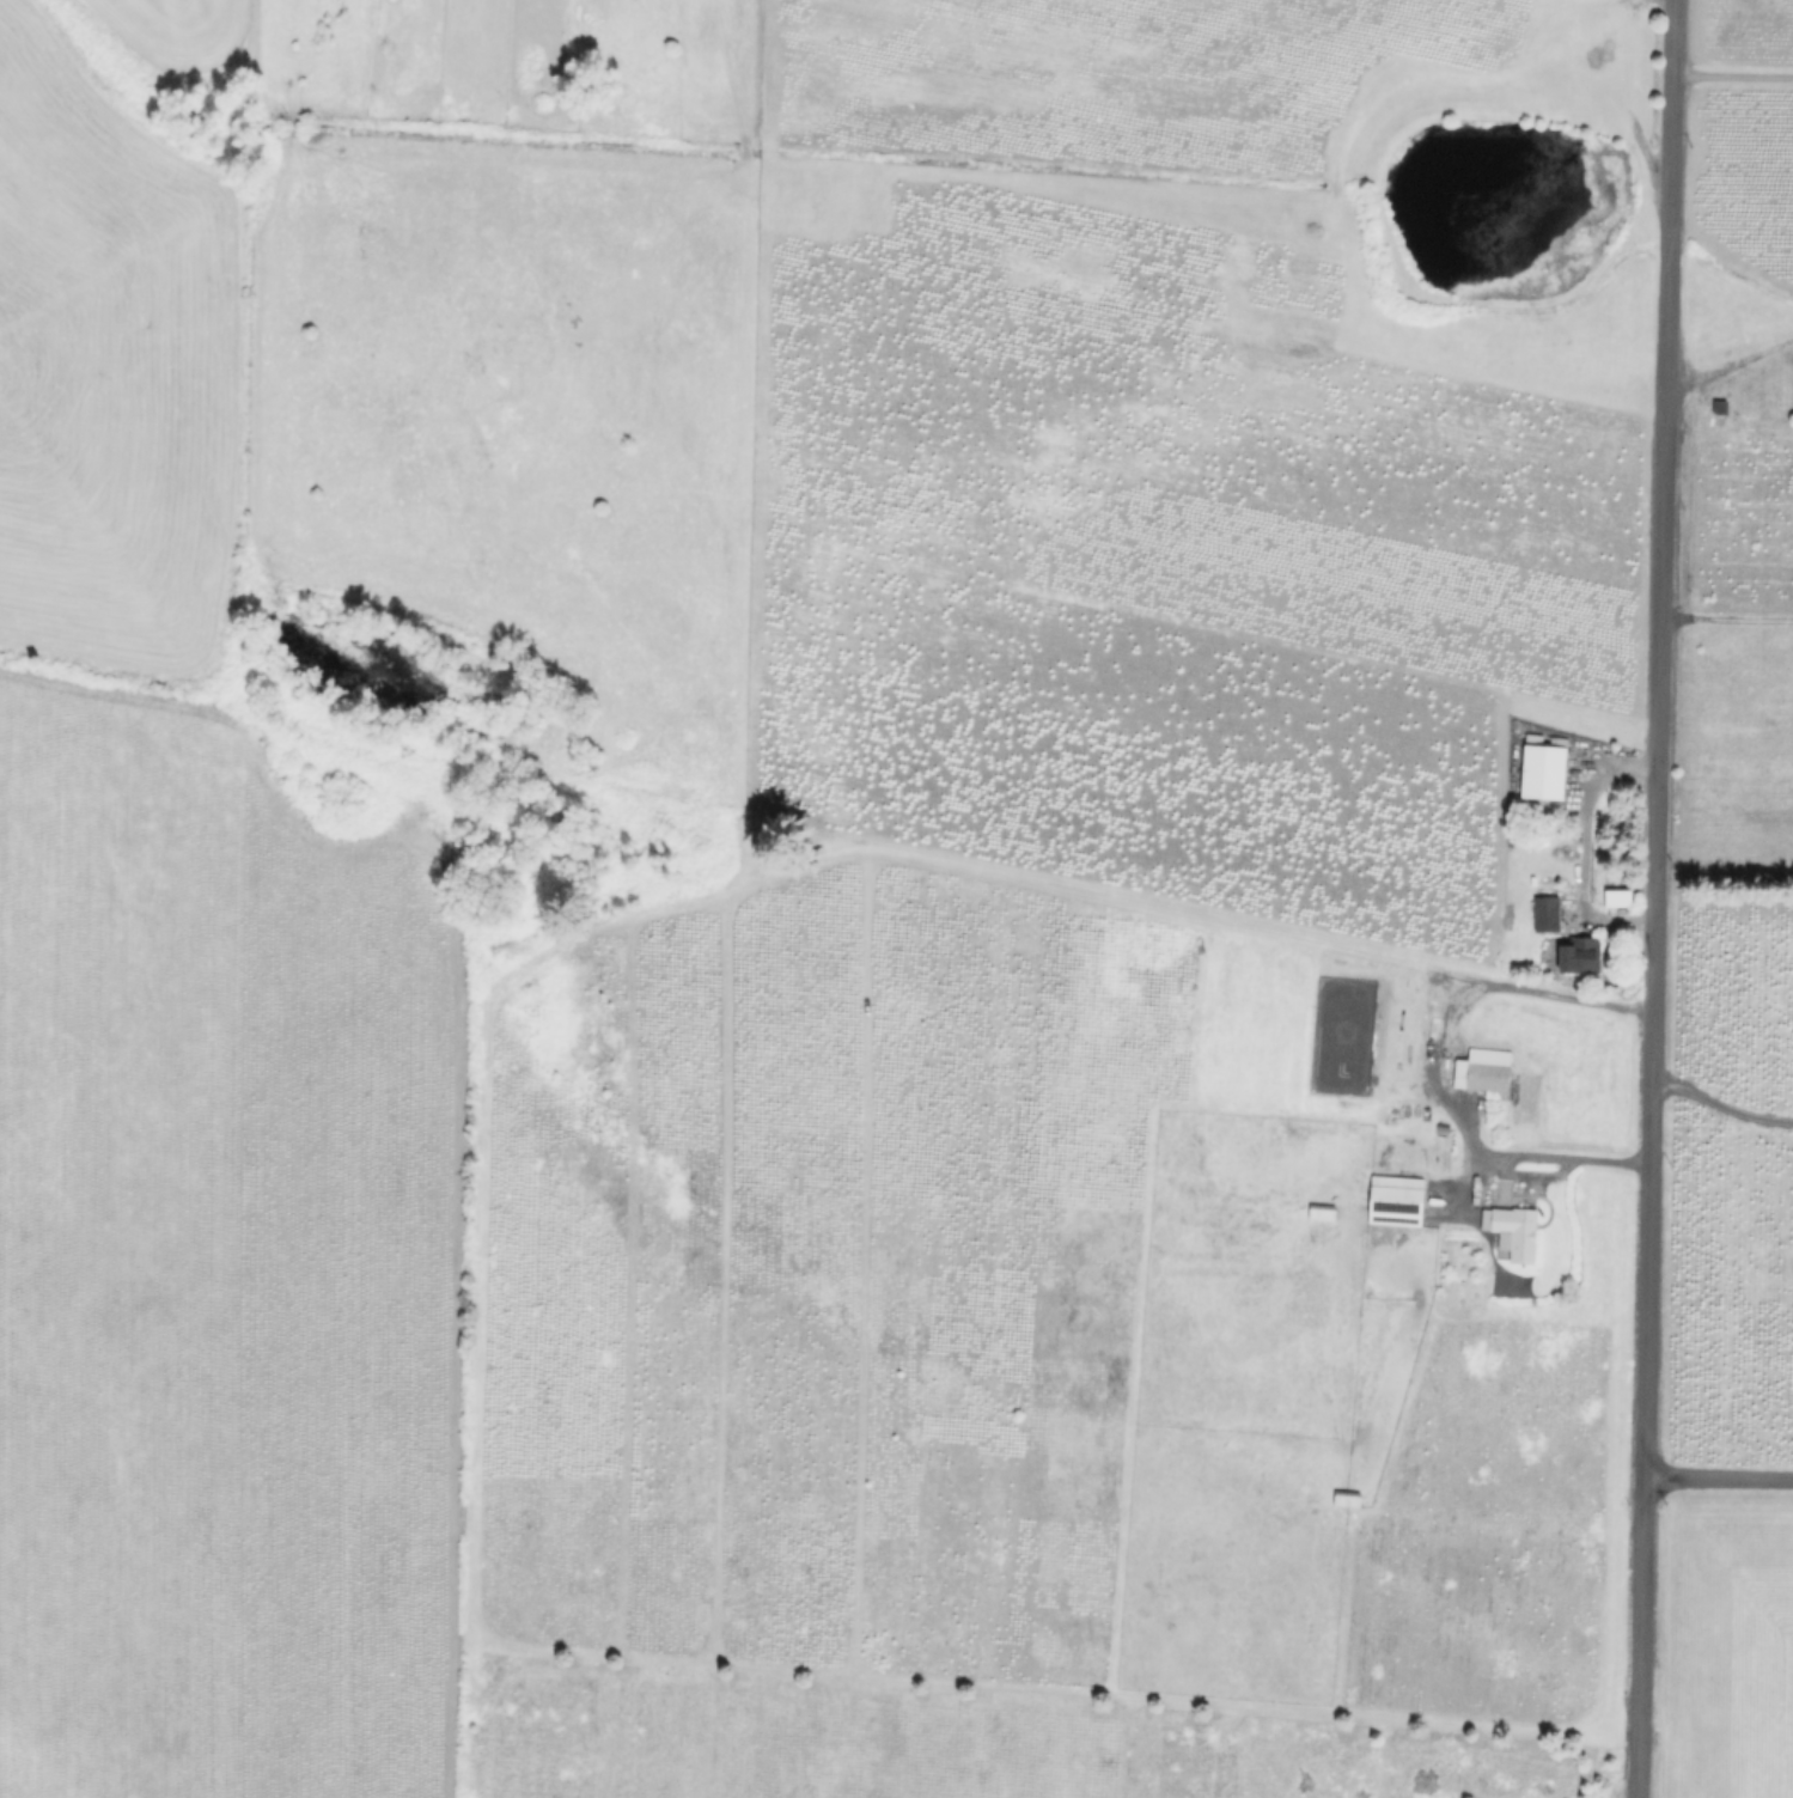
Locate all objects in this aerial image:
road: (1734, 75)
road: (1731, 346)
road: (1728, 609)
building: (1544, 772)
road: (1577, 849)
road: (1659, 898)
building: (1548, 914)
building: (1580, 956)
road: (1425, 1062)
building: (1483, 1071)
building: (1529, 1098)
road: (1724, 1107)
building: (1397, 1200)
building: (1323, 1212)
building: (1514, 1230)
road: (1720, 1479)
building: (1348, 1499)

